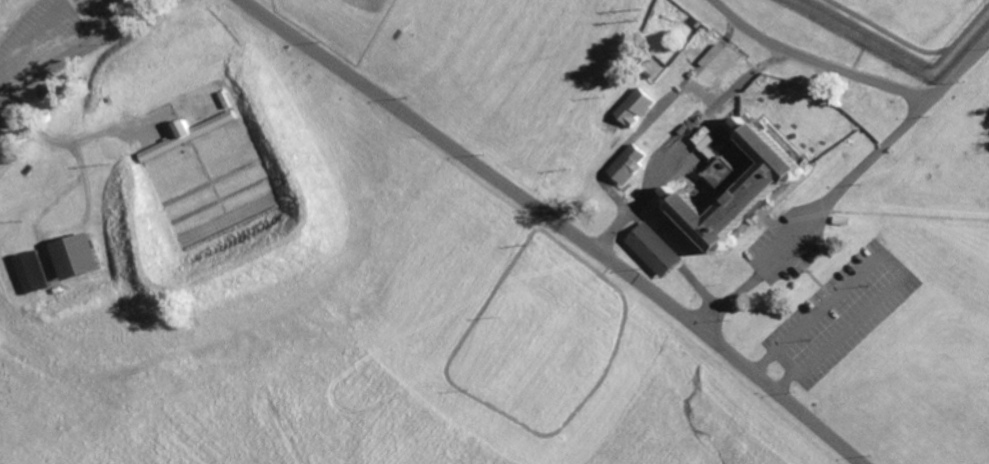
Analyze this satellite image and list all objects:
road: (815, 60)
building: (50, 91)
building: (633, 106)
building: (189, 135)
building: (28, 171)
road: (843, 185)
building: (734, 186)
road: (631, 207)
building: (839, 219)
road: (556, 226)
building: (655, 249)
building: (76, 257)
building: (30, 273)
parking lot: (839, 313)
road: (788, 354)

